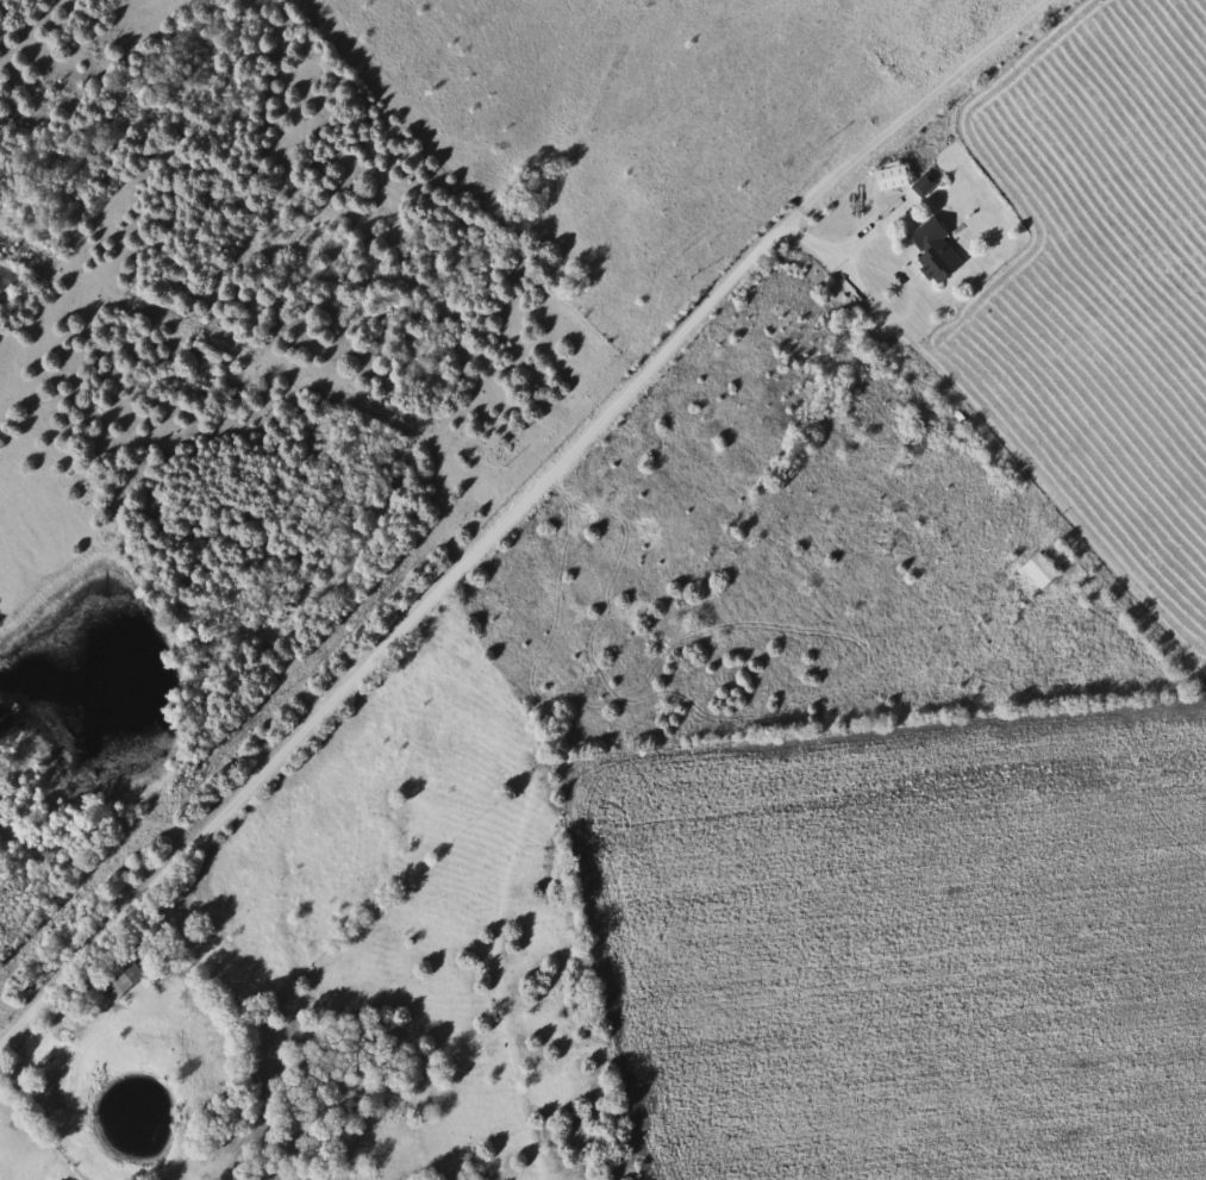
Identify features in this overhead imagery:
building: (887, 176)
road: (845, 249)
building: (931, 250)
road: (518, 508)
building: (1036, 569)
building: (117, 975)

